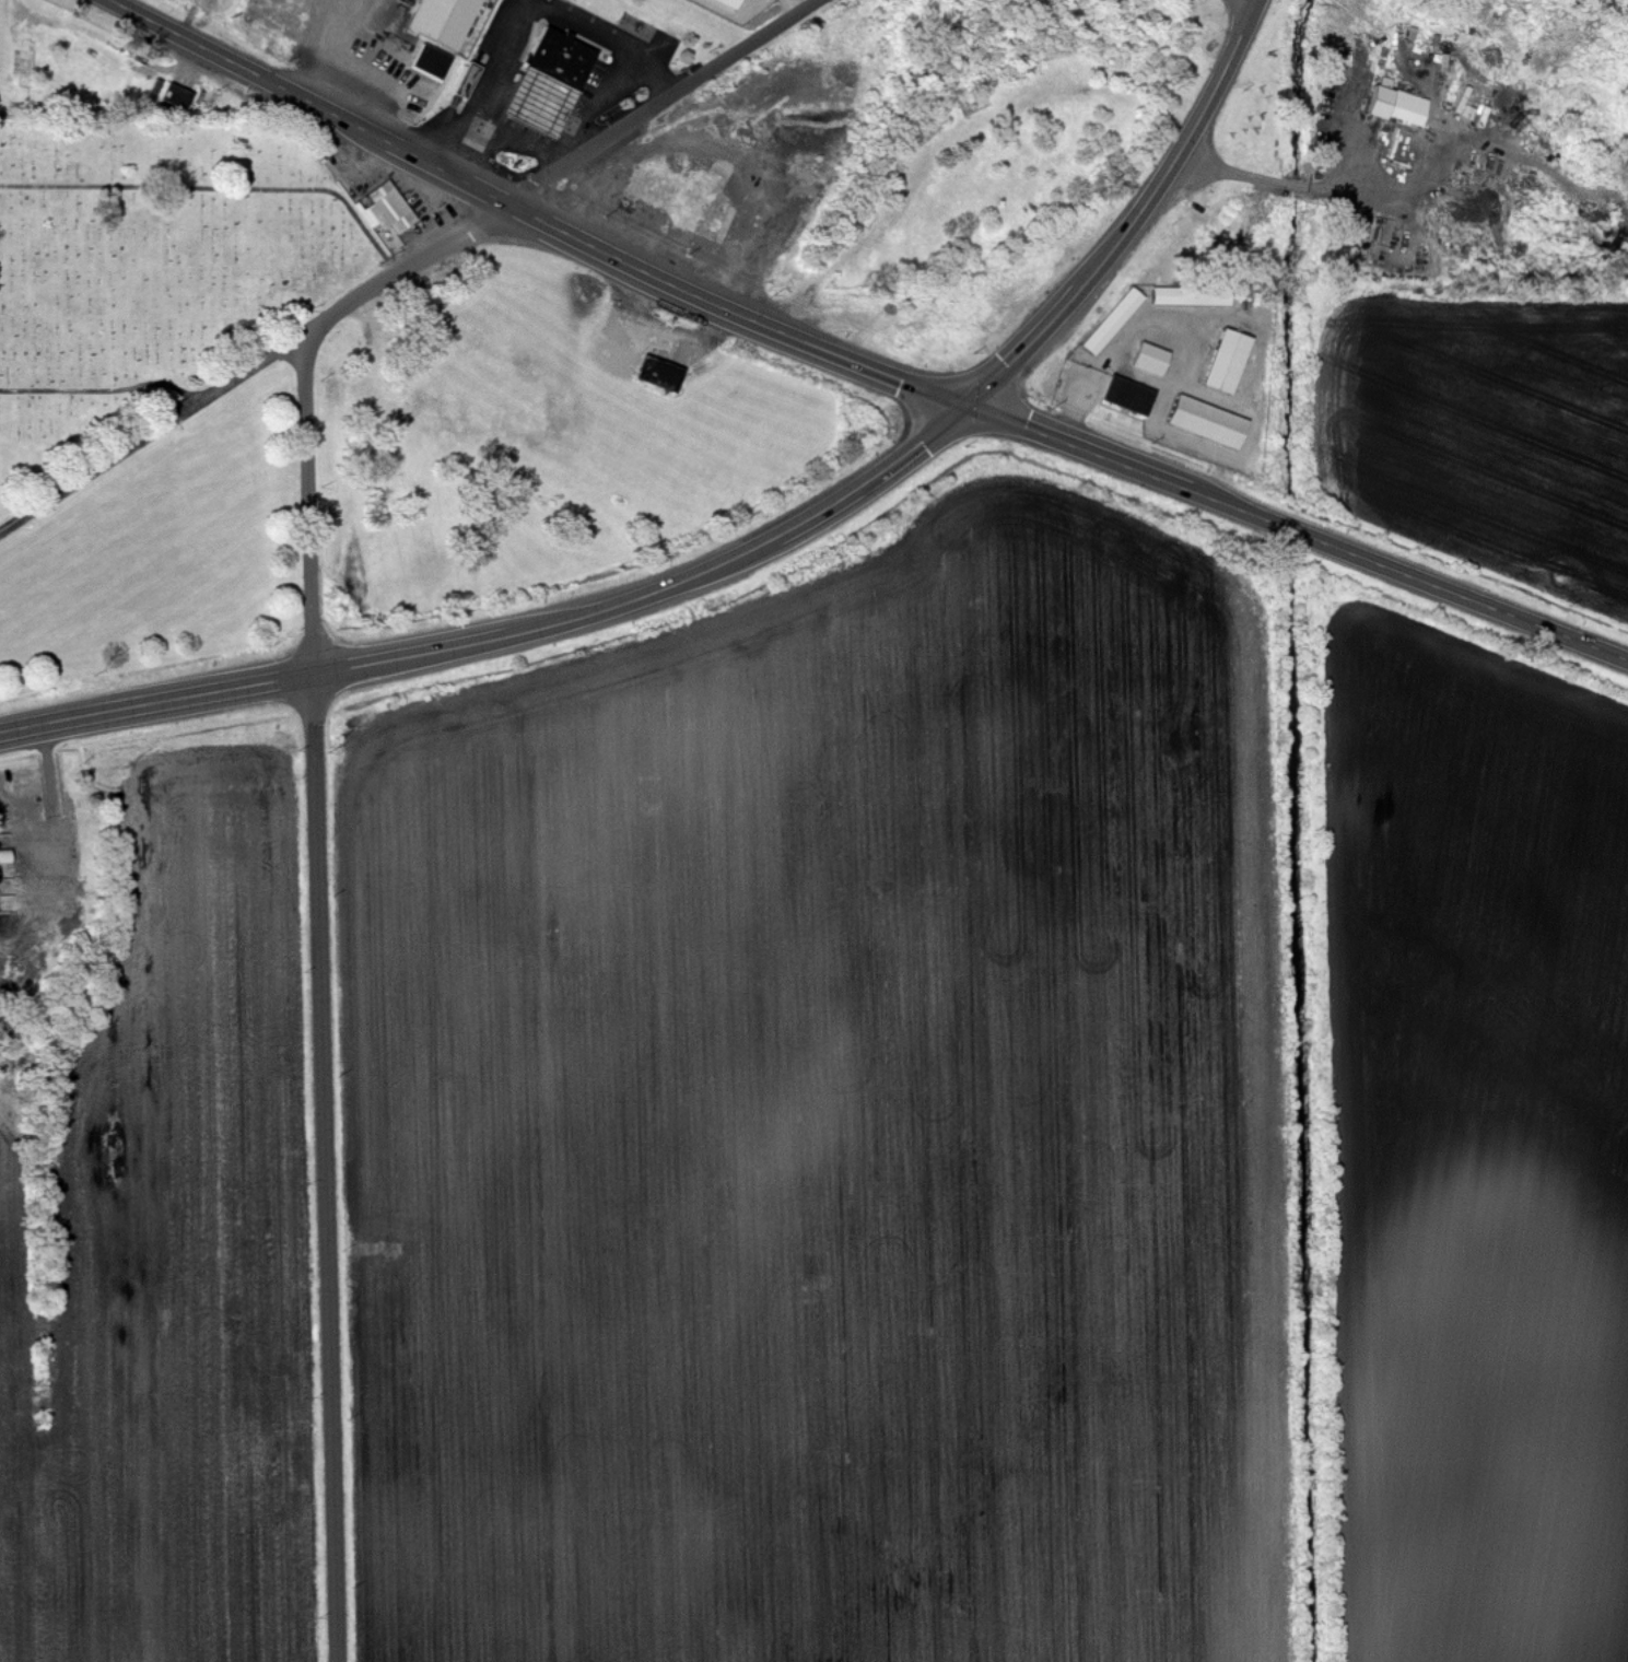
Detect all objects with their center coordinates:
road: (527, 15)
building: (444, 20)
road: (344, 56)
building: (24, 58)
building: (560, 71)
building: (177, 95)
building: (1386, 96)
road: (600, 110)
road: (517, 140)
road: (1243, 175)
road: (1377, 177)
building: (389, 208)
road: (407, 268)
park: (151, 271)
building: (1191, 296)
building: (1112, 321)
building: (666, 341)
building: (1150, 359)
building: (1227, 361)
road: (855, 362)
building: (659, 374)
building: (1128, 396)
traffic signals: (970, 403)
building: (1207, 421)
road: (746, 552)
road: (321, 998)

